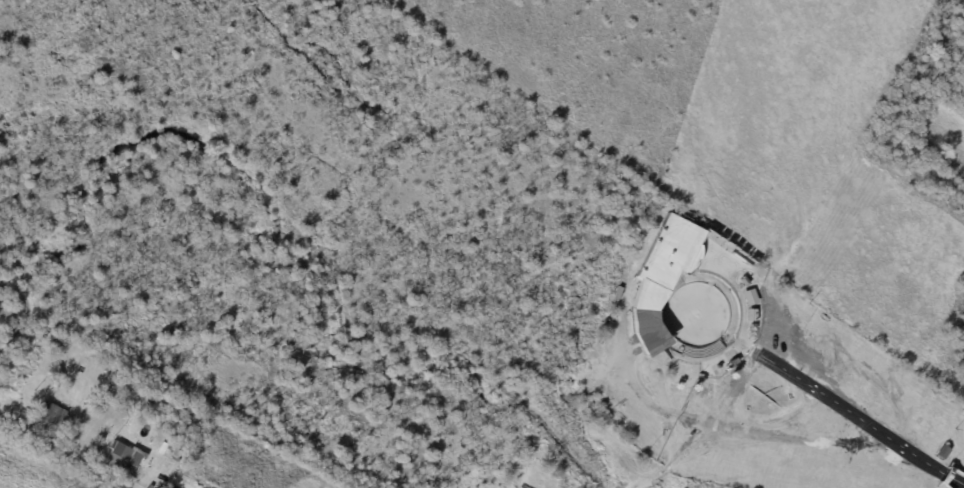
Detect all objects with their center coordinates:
building: (742, 256)
building: (650, 298)
building: (93, 358)
building: (116, 389)
building: (50, 418)
road: (851, 427)
building: (176, 446)
building: (943, 454)
road: (71, 457)
building: (122, 457)
road: (945, 475)
road: (955, 480)
building: (169, 487)

